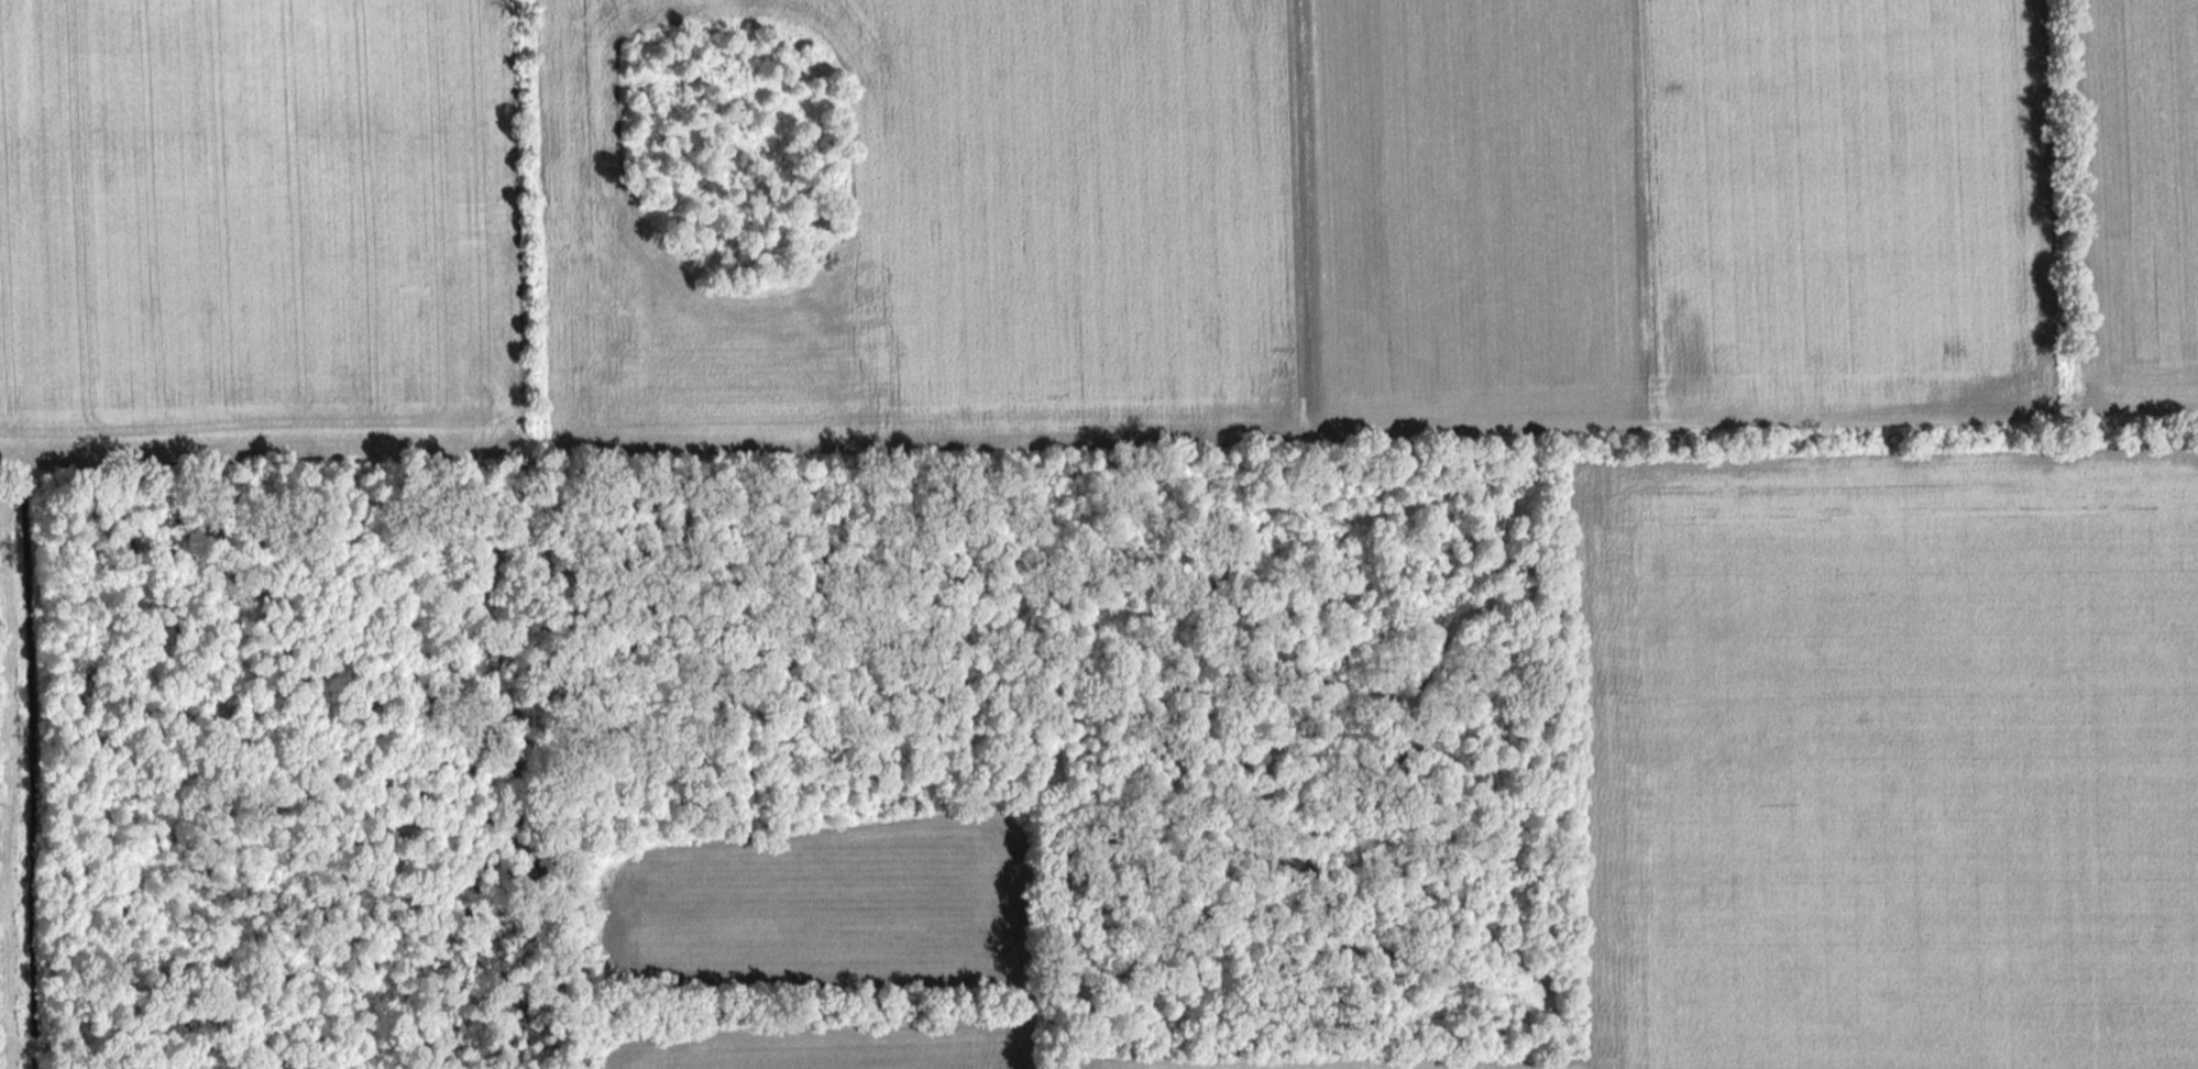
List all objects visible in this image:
crop: (740, 142)
crop: (740, 142)
crop: (740, 142)
crop: (2140, 197)
crop: (1026, 223)
crop: (1877, 768)
crop: (822, 906)
crop: (837, 1046)

